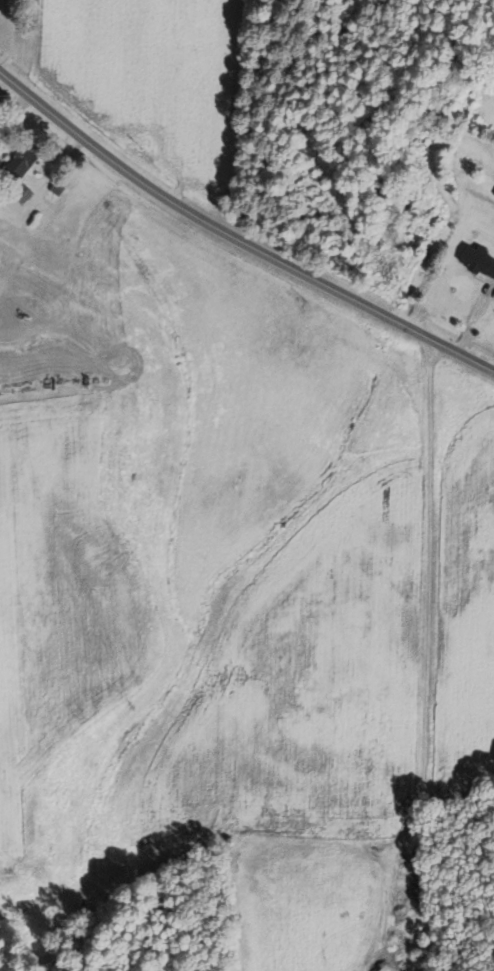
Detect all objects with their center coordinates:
road: (9, 33)
crop: (150, 79)
road: (13, 119)
building: (18, 164)
road: (47, 181)
building: (53, 192)
building: (493, 193)
building: (23, 194)
road: (236, 239)
building: (476, 259)
building: (492, 271)
building: (491, 293)
road: (475, 316)
crop: (61, 592)
crop: (466, 613)
road: (426, 659)
crop: (307, 685)

